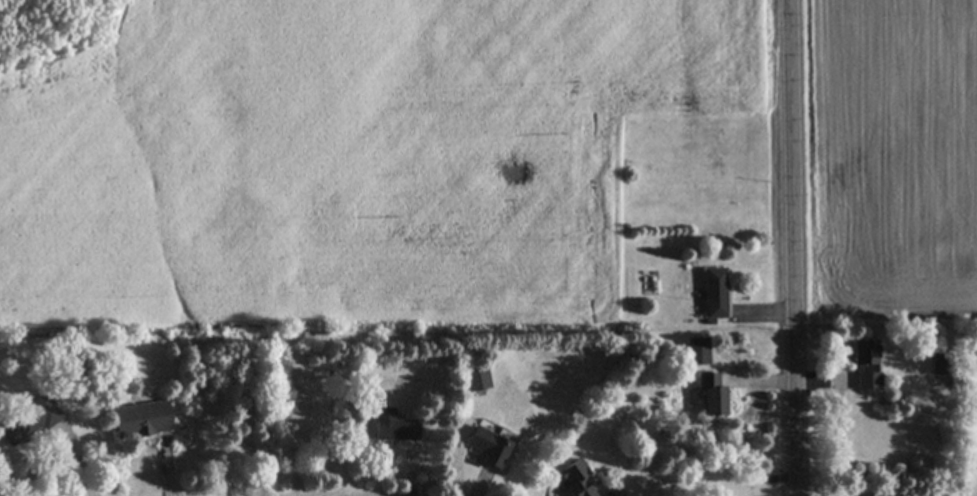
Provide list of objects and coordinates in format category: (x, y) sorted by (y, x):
road: (793, 247)
building: (714, 294)
building: (697, 351)
building: (939, 364)
building: (867, 365)
building: (477, 380)
building: (712, 394)
building: (142, 419)
building: (29, 420)
building: (393, 426)
building: (487, 445)
building: (577, 478)
building: (606, 494)

